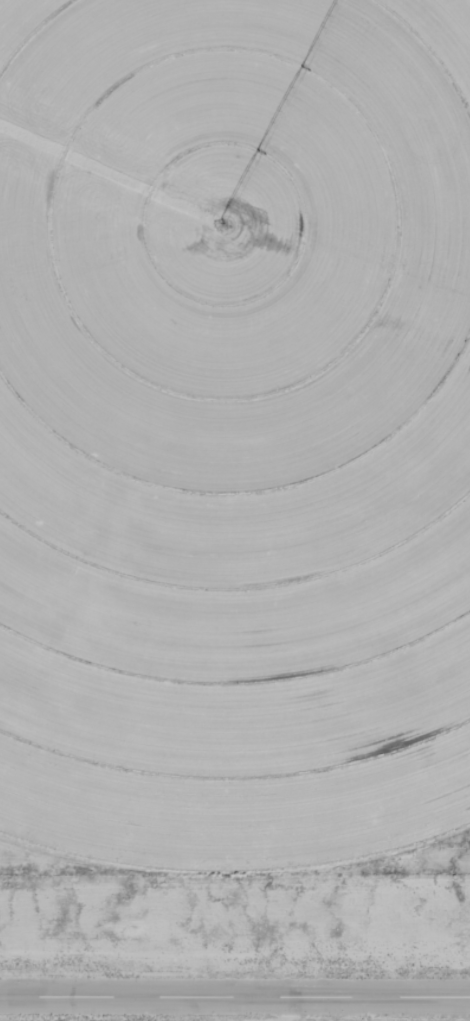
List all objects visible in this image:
crop: (234, 422)
airport: (235, 951)
airport runway: (235, 997)

